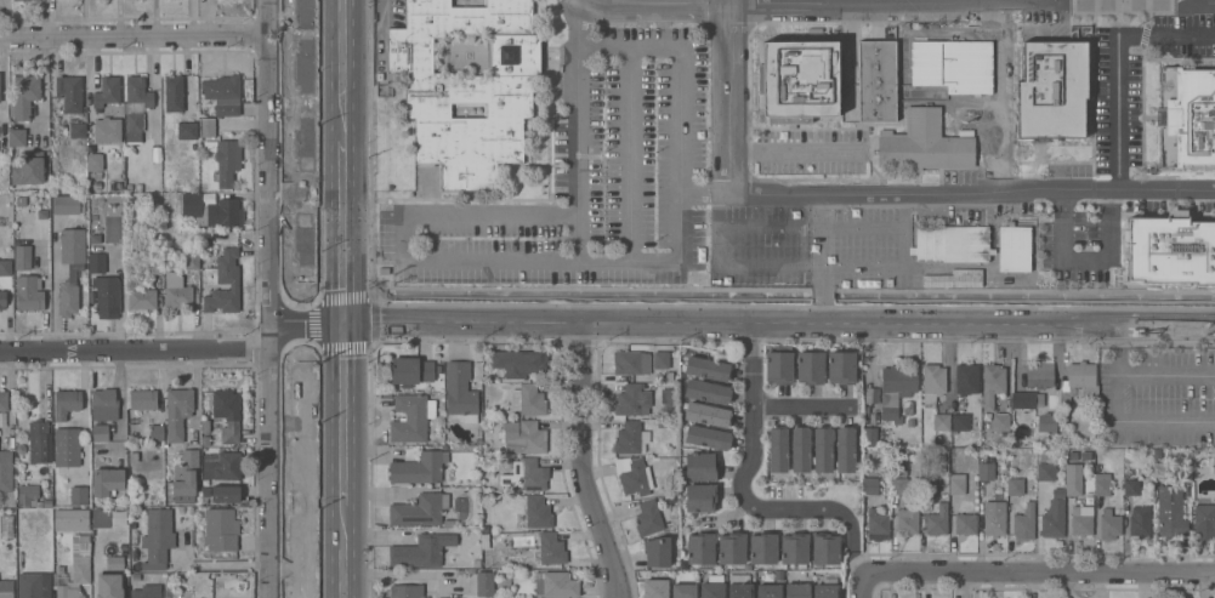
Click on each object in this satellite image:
building: (16, 0)
road: (834, 2)
road: (1187, 2)
road: (903, 5)
road: (6, 18)
road: (136, 36)
road: (602, 44)
road: (680, 44)
road: (1118, 63)
road: (342, 72)
building: (800, 80)
building: (876, 80)
building: (467, 87)
building: (1052, 89)
building: (108, 91)
building: (138, 91)
building: (174, 93)
building: (223, 93)
building: (24, 96)
road: (1003, 96)
building: (72, 102)
building: (1187, 116)
building: (135, 121)
building: (206, 127)
building: (108, 130)
building: (187, 131)
building: (17, 137)
building: (851, 138)
building: (922, 143)
road: (794, 150)
road: (273, 159)
road: (577, 160)
building: (227, 161)
building: (96, 164)
building: (29, 167)
building: (97, 186)
building: (129, 186)
building: (148, 186)
building: (55, 187)
building: (138, 188)
road: (704, 189)
road: (880, 189)
building: (68, 205)
building: (211, 210)
road: (768, 226)
road: (342, 232)
building: (93, 233)
road: (401, 237)
building: (1190, 243)
building: (952, 244)
building: (1016, 249)
building: (7, 255)
building: (23, 257)
road: (822, 257)
road: (1083, 258)
building: (191, 260)
building: (97, 263)
road: (731, 264)
building: (154, 266)
building: (5, 267)
building: (70, 268)
building: (228, 274)
building: (952, 278)
road: (53, 289)
building: (177, 292)
building: (28, 294)
building: (107, 296)
building: (142, 298)
building: (2, 300)
road: (308, 320)
traffic signals: (344, 321)
road: (779, 324)
road: (136, 348)
building: (660, 360)
building: (626, 361)
building: (520, 363)
building: (778, 365)
building: (810, 366)
building: (841, 366)
building: (706, 369)
building: (411, 370)
building: (1039, 375)
road: (1165, 375)
building: (966, 380)
building: (1078, 381)
building: (932, 382)
building: (992, 385)
building: (896, 389)
building: (460, 391)
building: (706, 392)
parking lot: (1157, 398)
building: (142, 399)
building: (637, 399)
building: (1026, 399)
building: (2, 400)
building: (528, 400)
building: (67, 403)
building: (104, 404)
road: (804, 408)
building: (177, 412)
building: (227, 414)
road: (344, 414)
building: (706, 415)
building: (409, 418)
building: (963, 418)
building: (1000, 421)
building: (941, 422)
road: (1117, 422)
building: (1046, 425)
building: (205, 426)
building: (100, 433)
building: (155, 433)
building: (527, 437)
building: (869, 437)
building: (631, 438)
building: (706, 438)
building: (205, 440)
building: (39, 442)
building: (19, 446)
building: (67, 446)
building: (800, 449)
building: (822, 449)
building: (845, 449)
building: (778, 450)
road: (273, 459)
road: (581, 462)
building: (1214, 465)
building: (222, 466)
building: (700, 467)
building: (419, 468)
building: (6, 471)
building: (526, 475)
building: (634, 475)
building: (184, 477)
building: (984, 477)
building: (107, 480)
building: (956, 483)
building: (1131, 483)
building: (1101, 484)
building: (927, 485)
building: (869, 486)
building: (898, 486)
building: (27, 494)
building: (225, 494)
road: (745, 494)
building: (78, 496)
building: (1057, 496)
building: (700, 497)
building: (1014, 497)
building: (1068, 501)
building: (47, 502)
building: (39, 503)
building: (419, 509)
building: (536, 512)
building: (1170, 512)
building: (123, 513)
building: (107, 518)
building: (648, 518)
building: (908, 518)
building: (72, 519)
building: (937, 519)
building: (1204, 520)
building: (993, 522)
building: (1140, 522)
building: (965, 524)
building: (1109, 524)
building: (6, 525)
building: (878, 525)
building: (221, 529)
building: (158, 534)
building: (134, 539)
building: (100, 545)
building: (552, 548)
building: (700, 548)
building: (732, 548)
building: (762, 548)
building: (794, 548)
building: (824, 548)
building: (421, 551)
road: (344, 552)
building: (660, 552)
building: (76, 568)
building: (98, 574)
road: (1041, 574)
building: (192, 576)
building: (218, 583)
building: (484, 583)
building: (34, 585)
building: (557, 585)
building: (712, 586)
building: (739, 586)
road: (867, 586)
building: (115, 588)
building: (655, 588)
building: (827, 588)
building: (405, 591)
building: (683, 591)
building: (768, 591)
building: (796, 591)
building: (147, 592)
building: (222, 593)
building: (6, 594)
building: (188, 594)

